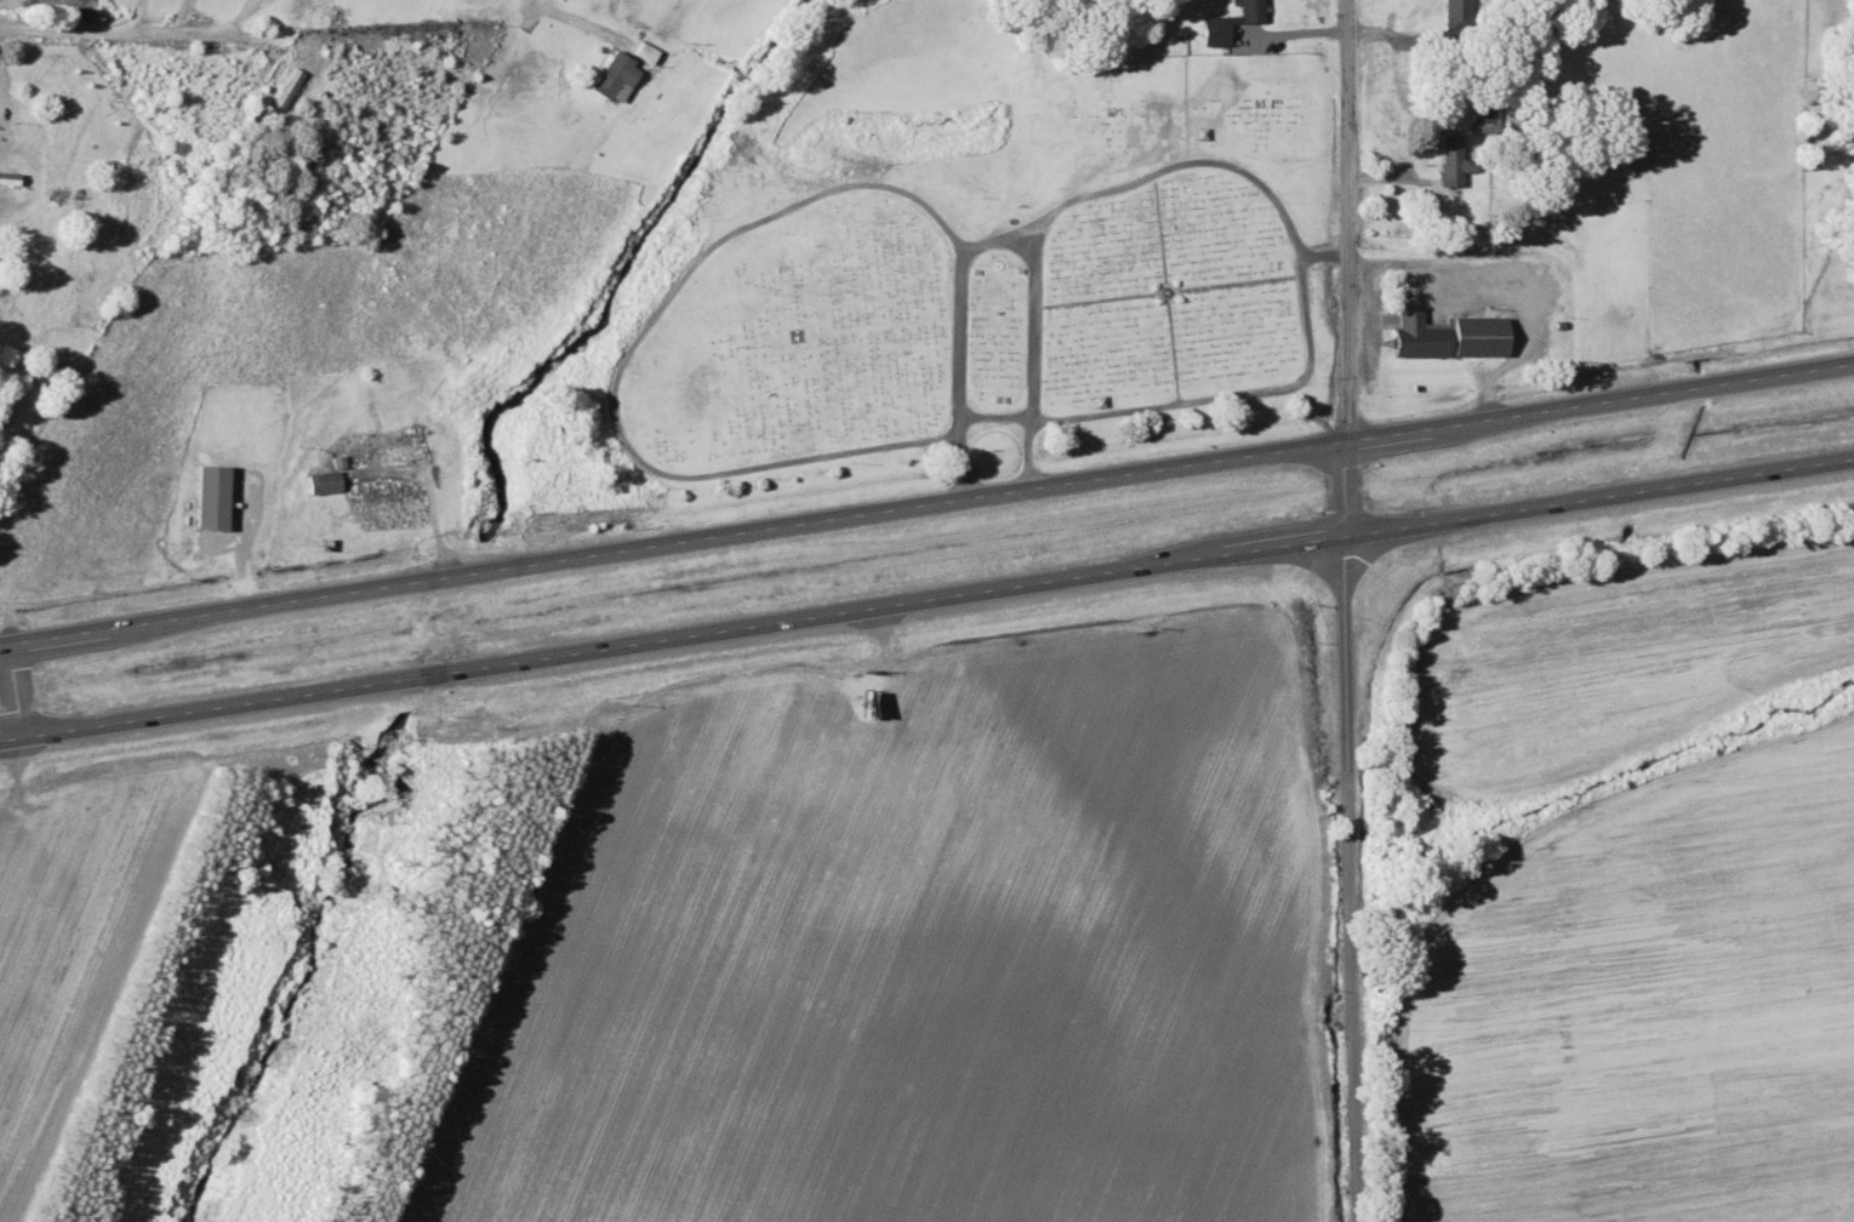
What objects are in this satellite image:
road: (547, 4)
road: (243, 8)
road: (250, 8)
building: (1455, 16)
building: (1220, 23)
road: (122, 30)
building: (644, 53)
building: (615, 78)
building: (284, 88)
building: (1450, 161)
building: (7, 177)
road: (1350, 272)
building: (1447, 335)
building: (323, 482)
road: (928, 508)
road: (926, 603)
road: (7, 696)
road: (1356, 883)

